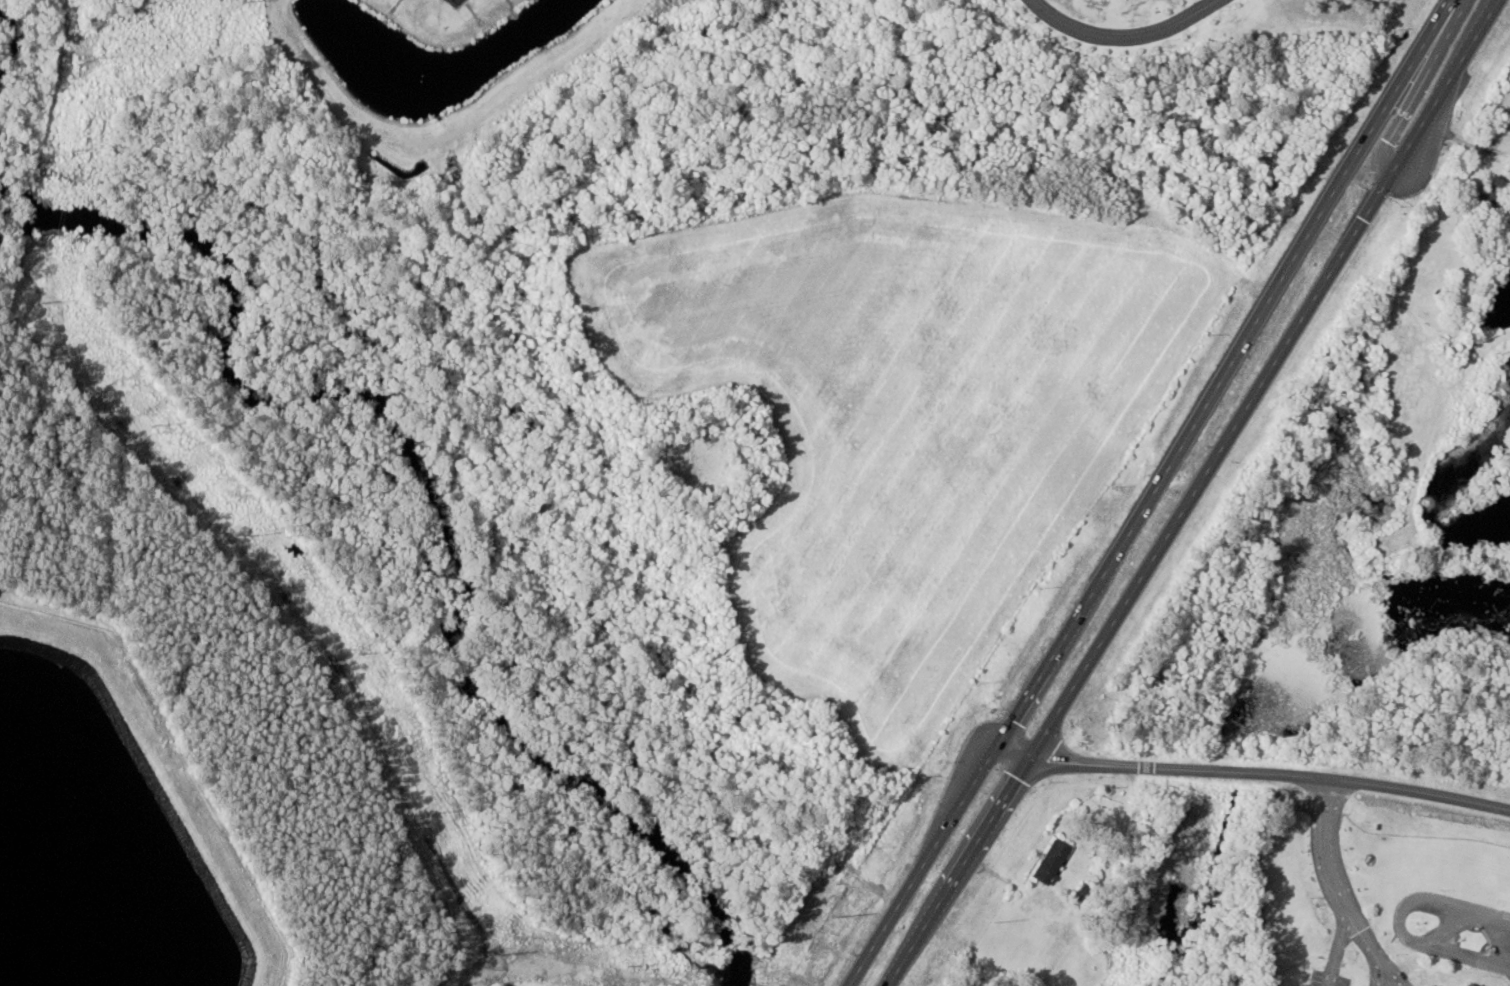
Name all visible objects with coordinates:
power tower: (240, 1)
power substation: (454, 1)
road: (1123, 38)
power tower: (94, 58)
power tower: (75, 150)
building: (1491, 191)
traffic signals: (1379, 193)
building: (1435, 253)
power tower: (48, 304)
power tower: (157, 426)
road: (1153, 493)
road: (1192, 493)
power tower: (252, 534)
power tower: (360, 653)
road: (1255, 771)
power tower: (432, 813)
road: (1328, 847)
building: (1048, 862)
road: (1404, 922)
road: (1453, 928)
parking lot: (1497, 934)
road: (1344, 948)
road: (1378, 948)
power tower: (499, 952)
power tower: (628, 967)
road: (1385, 974)
parking lot: (1331, 980)
building: (1508, 982)
parking lot: (1375, 983)
building: (1464, 985)

